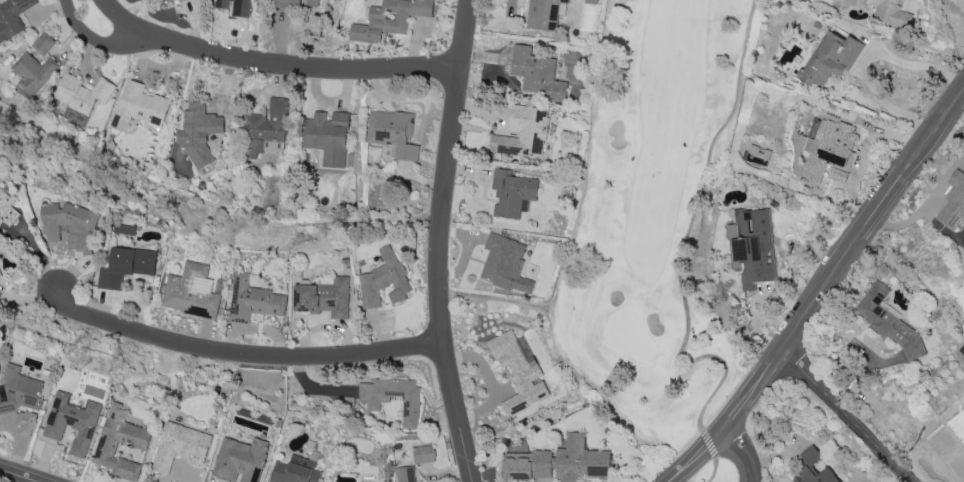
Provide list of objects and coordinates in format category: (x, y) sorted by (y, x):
building: (166, 0)
building: (180, 0)
building: (591, 1)
building: (298, 2)
building: (235, 7)
building: (886, 12)
building: (544, 13)
building: (12, 17)
building: (389, 18)
road: (106, 44)
building: (830, 58)
road: (866, 60)
road: (276, 63)
building: (35, 64)
building: (536, 73)
building: (81, 92)
building: (139, 105)
building: (265, 129)
building: (198, 131)
building: (524, 131)
building: (393, 136)
building: (827, 150)
road: (917, 151)
building: (757, 154)
building: (511, 193)
building: (953, 202)
building: (7, 208)
road: (925, 208)
building: (68, 224)
building: (125, 228)
park: (658, 234)
road: (683, 238)
road: (439, 241)
building: (751, 245)
building: (505, 263)
building: (125, 266)
building: (383, 280)
building: (190, 291)
building: (323, 296)
building: (253, 299)
building: (886, 319)
road: (776, 354)
road: (242, 356)
building: (518, 370)
building: (18, 397)
building: (392, 397)
road: (844, 414)
building: (71, 422)
road: (961, 436)
building: (120, 442)
road: (709, 443)
building: (180, 446)
building: (424, 454)
road: (744, 455)
building: (239, 459)
building: (581, 460)
building: (527, 465)
building: (295, 470)
road: (714, 471)
building: (405, 474)
road: (20, 475)

